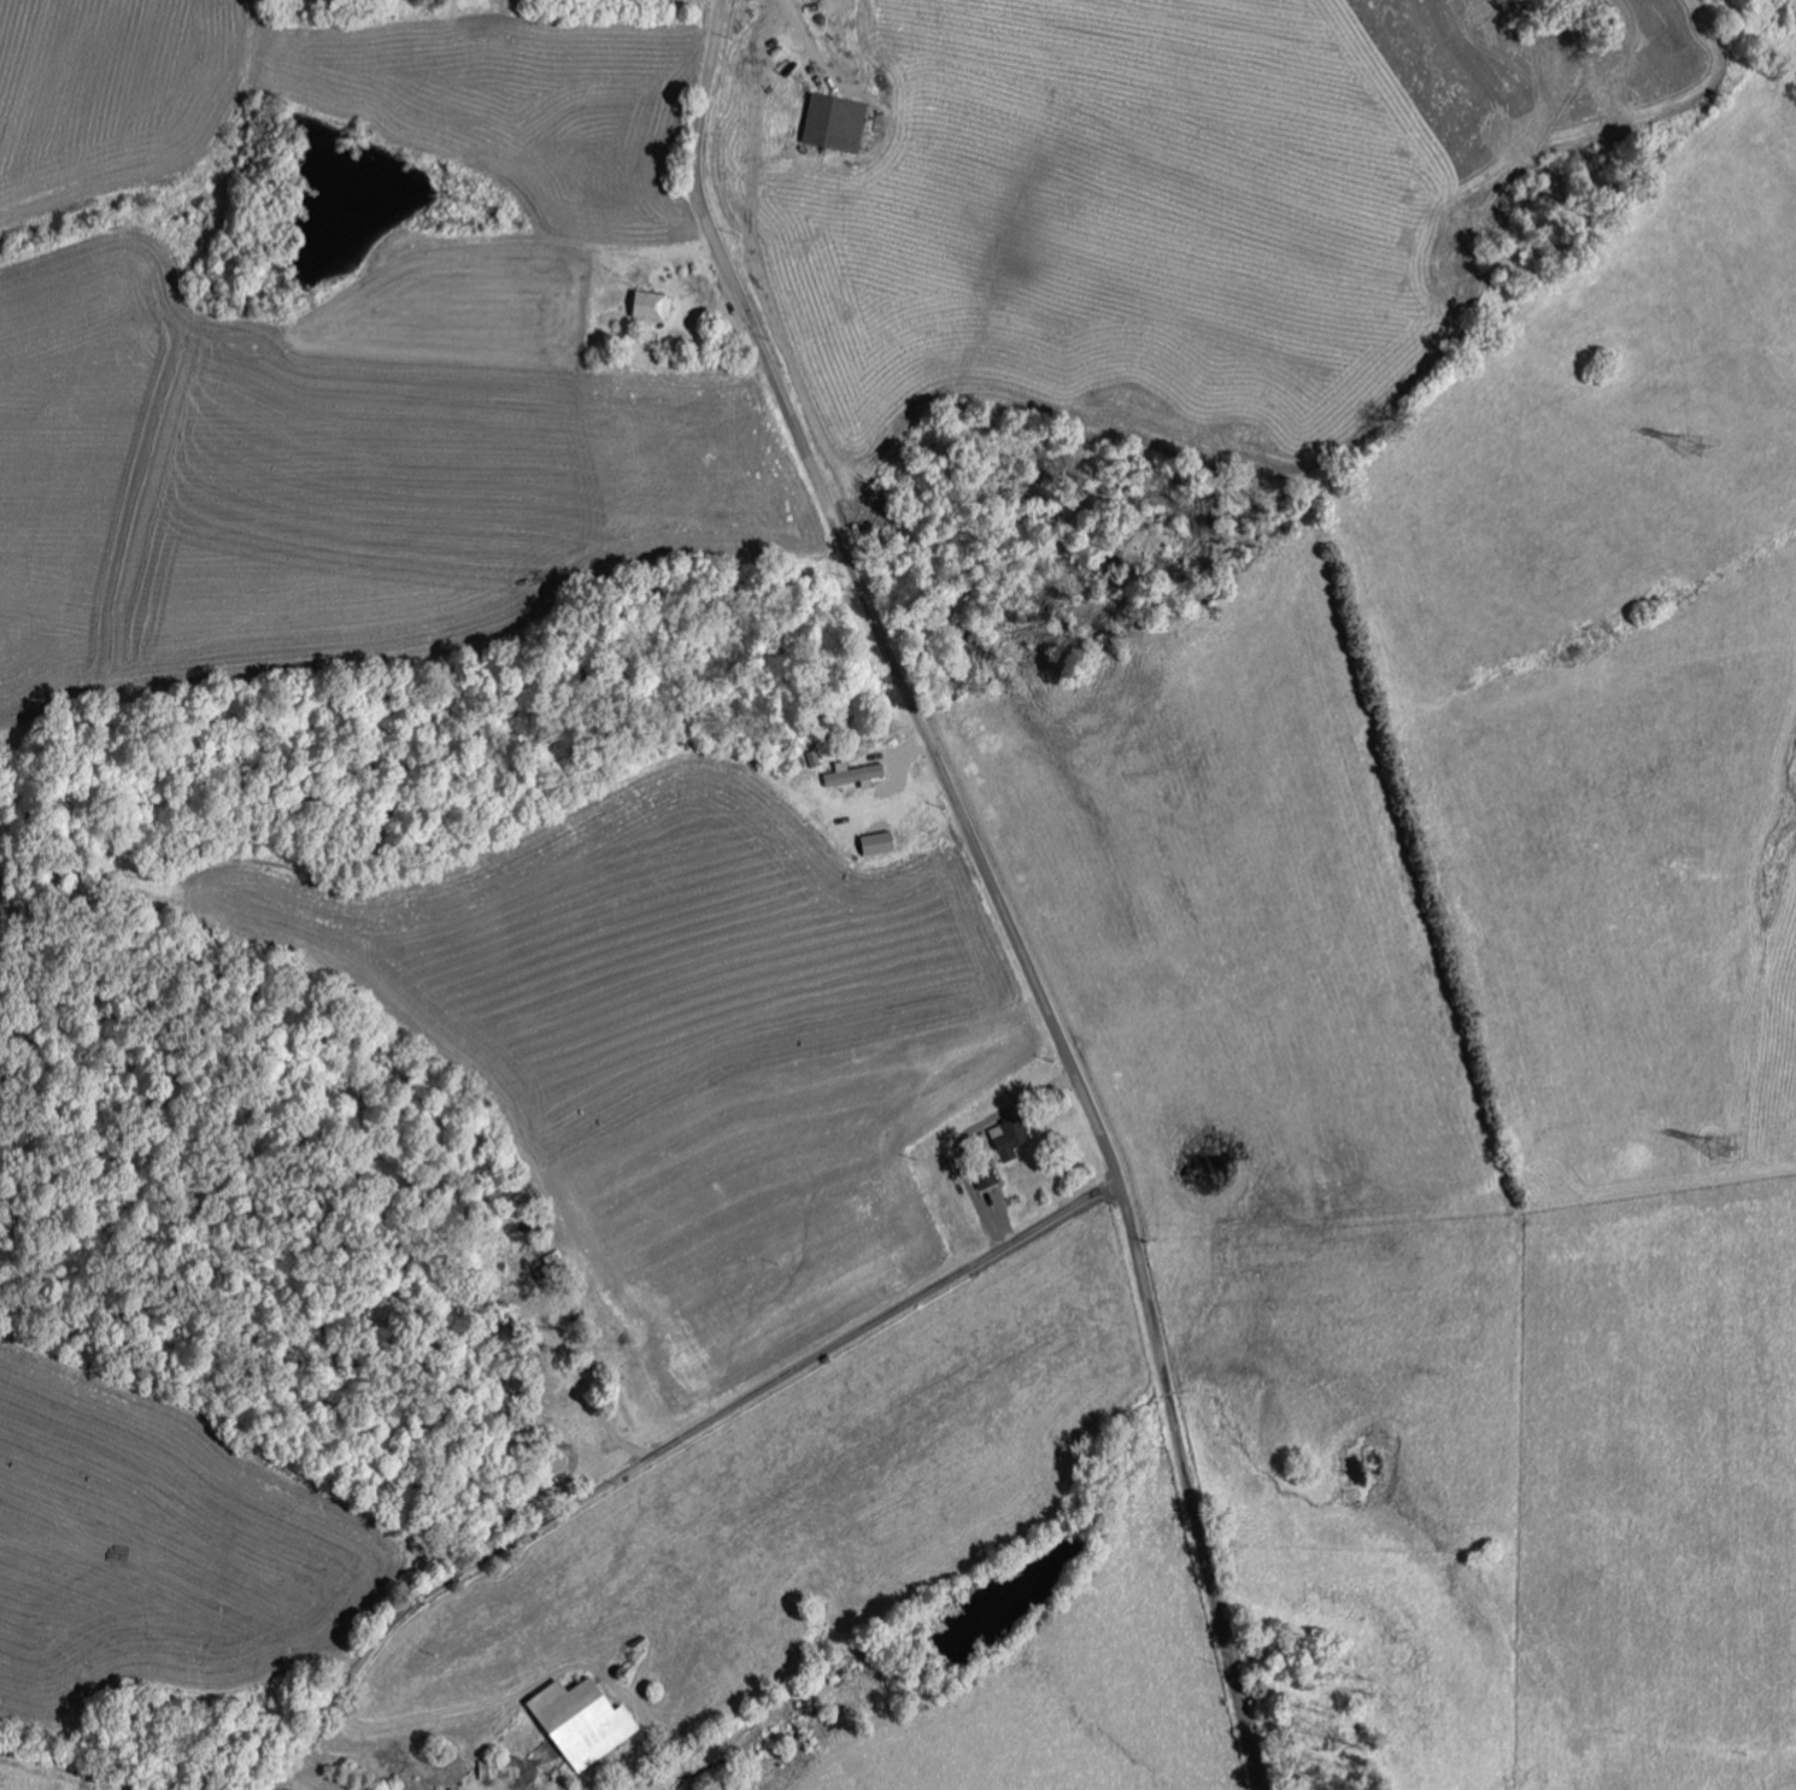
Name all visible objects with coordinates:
building: (837, 122)
building: (653, 306)
building: (856, 775)
building: (880, 844)
road: (992, 884)
building: (1013, 1138)
road: (591, 1396)
road: (664, 1449)
building: (586, 1720)
road: (64, 1770)

